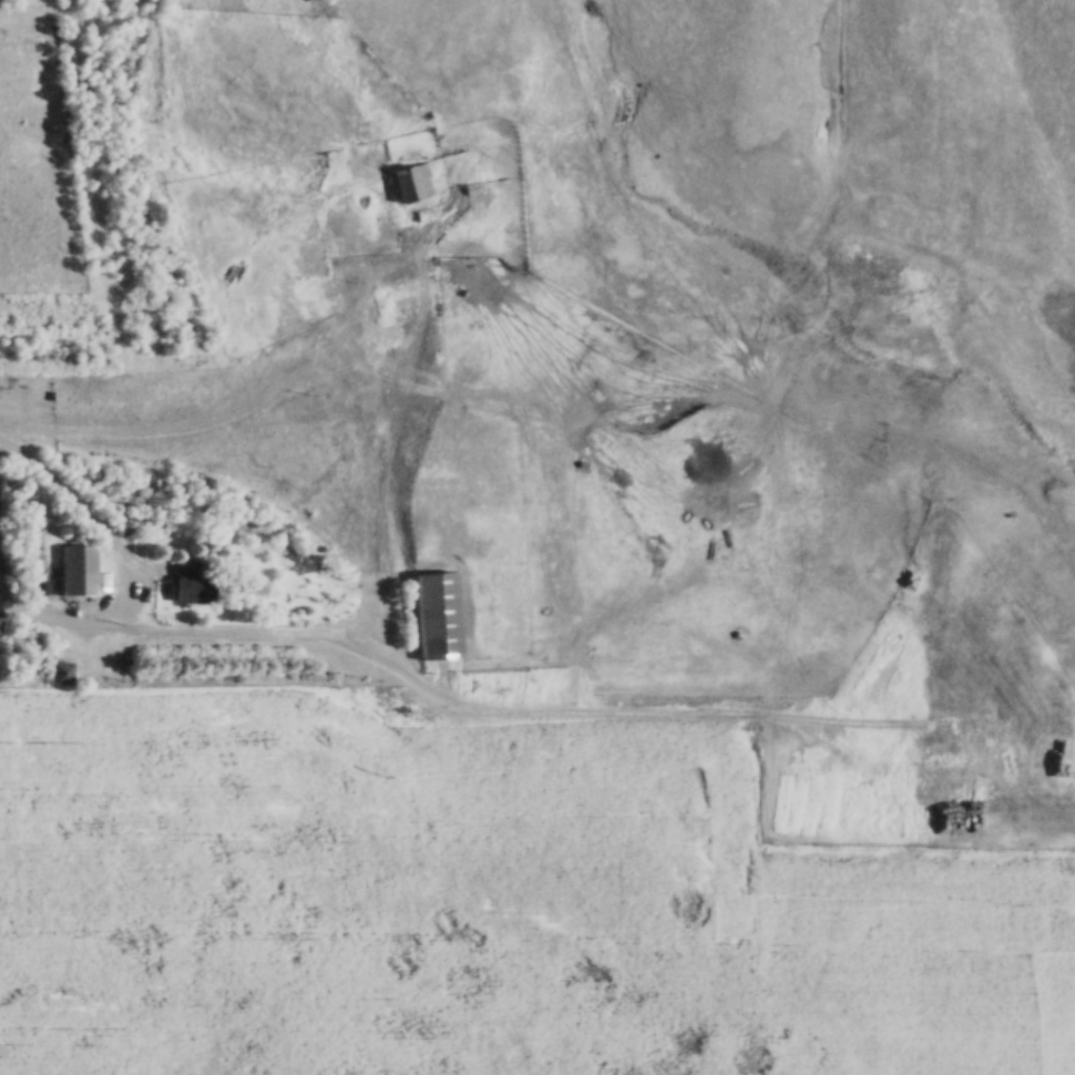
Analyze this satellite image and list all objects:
building: (412, 185)
building: (401, 294)
building: (79, 572)
building: (192, 582)
building: (438, 616)
building: (60, 674)

